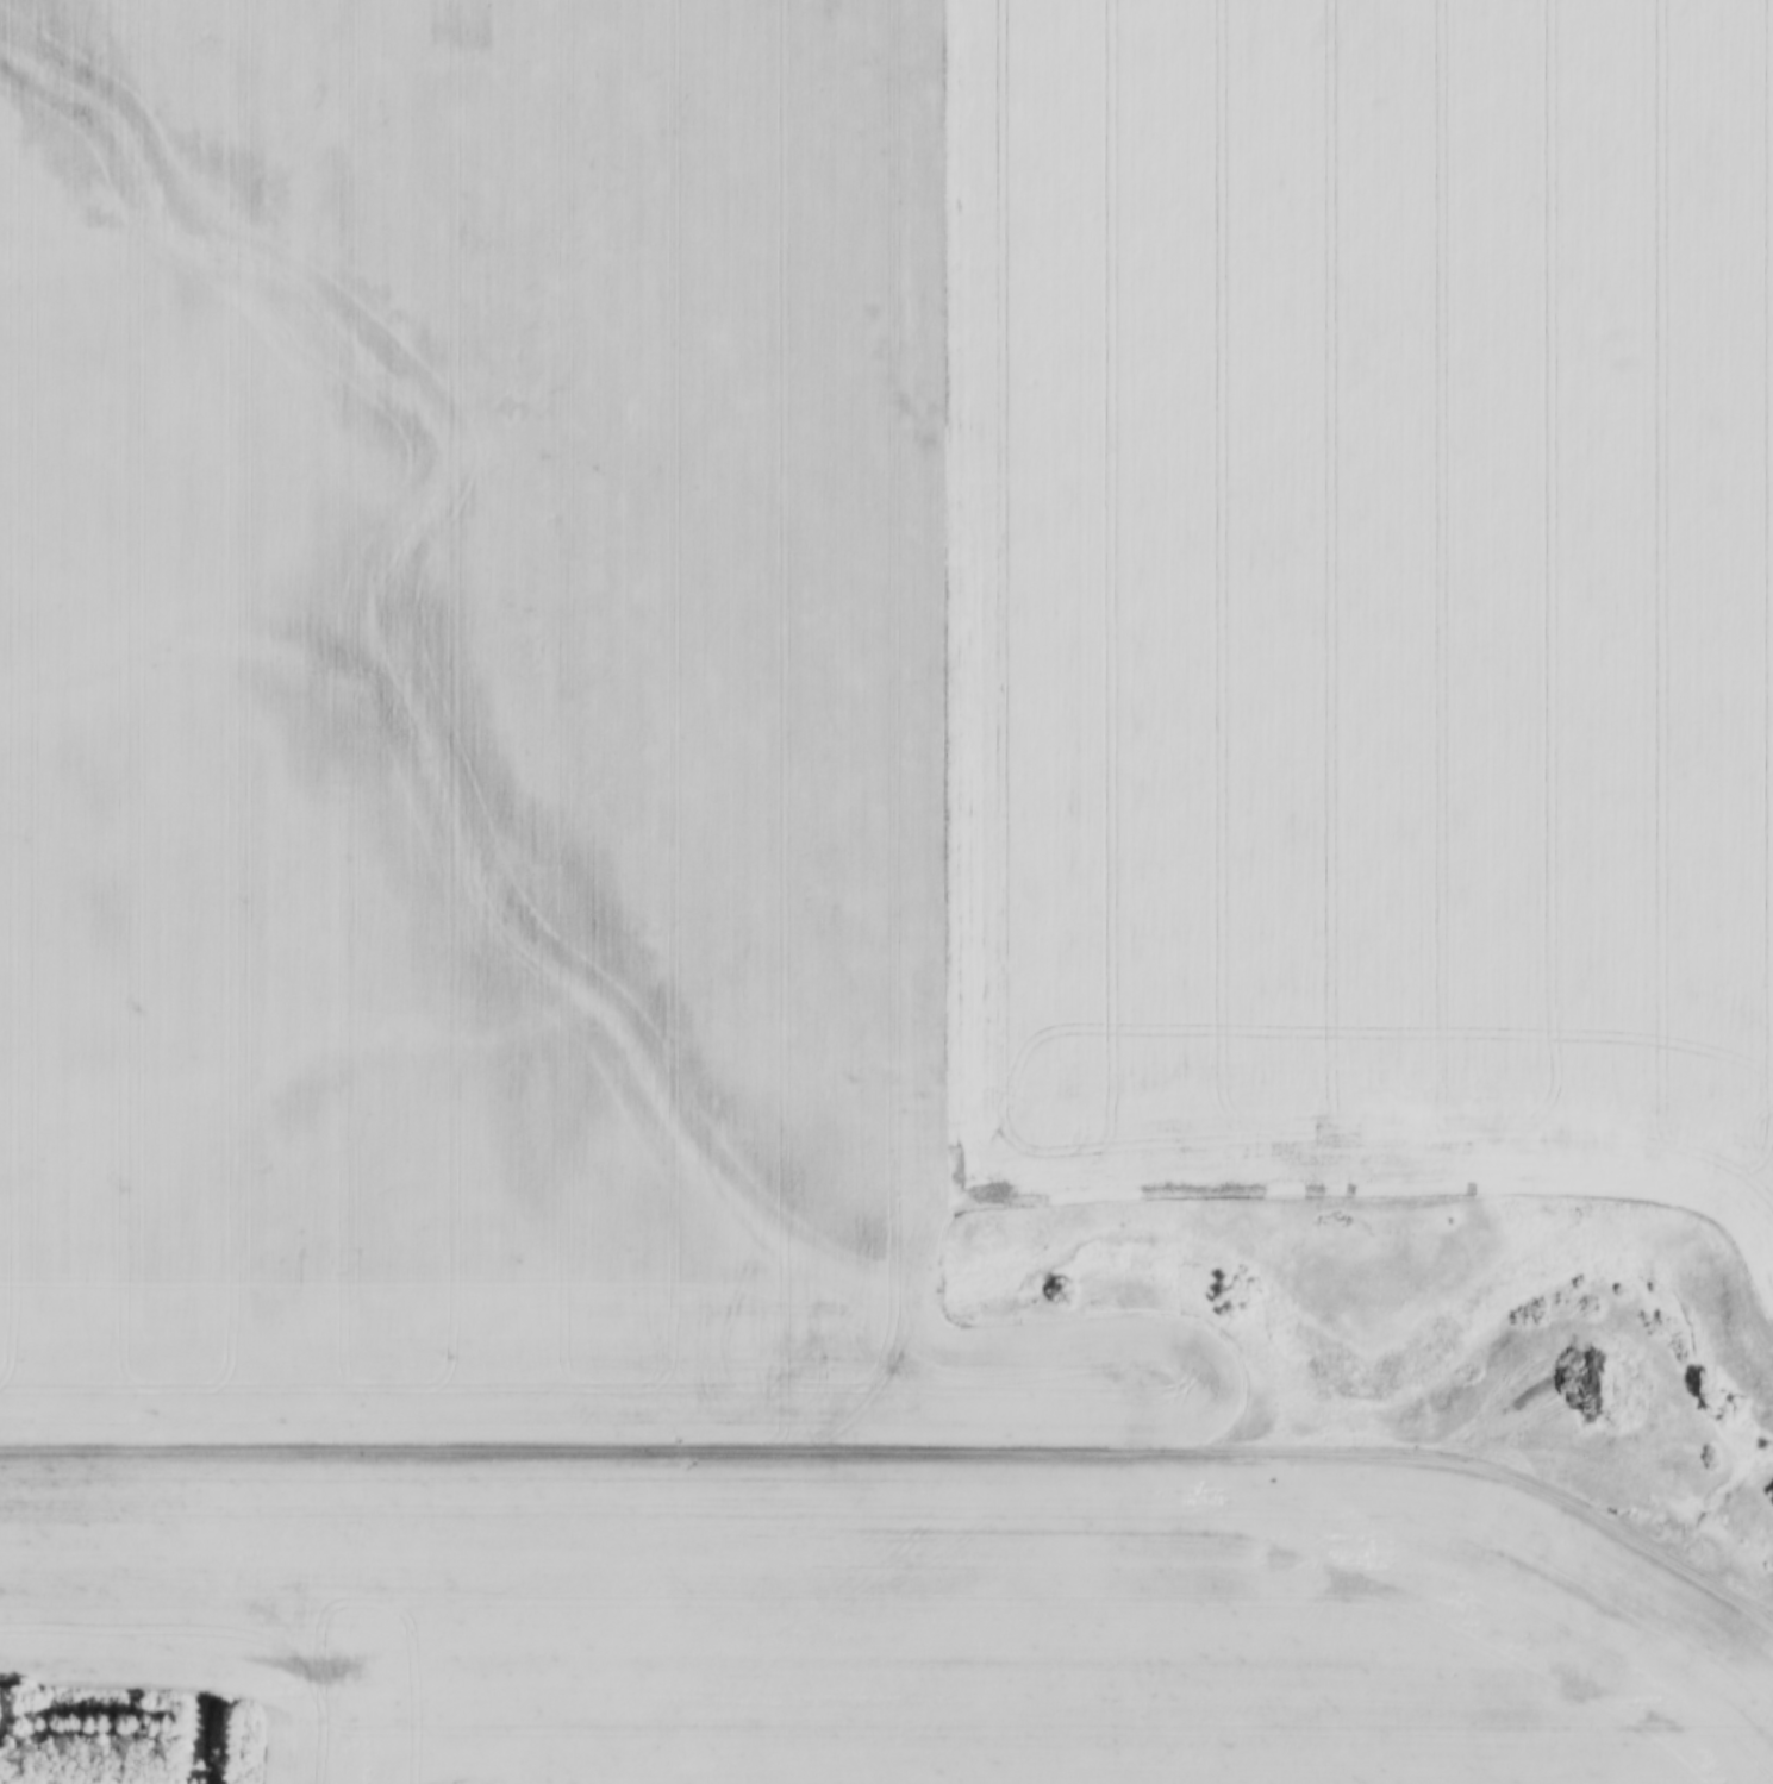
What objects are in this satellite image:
road: (906, 1440)

